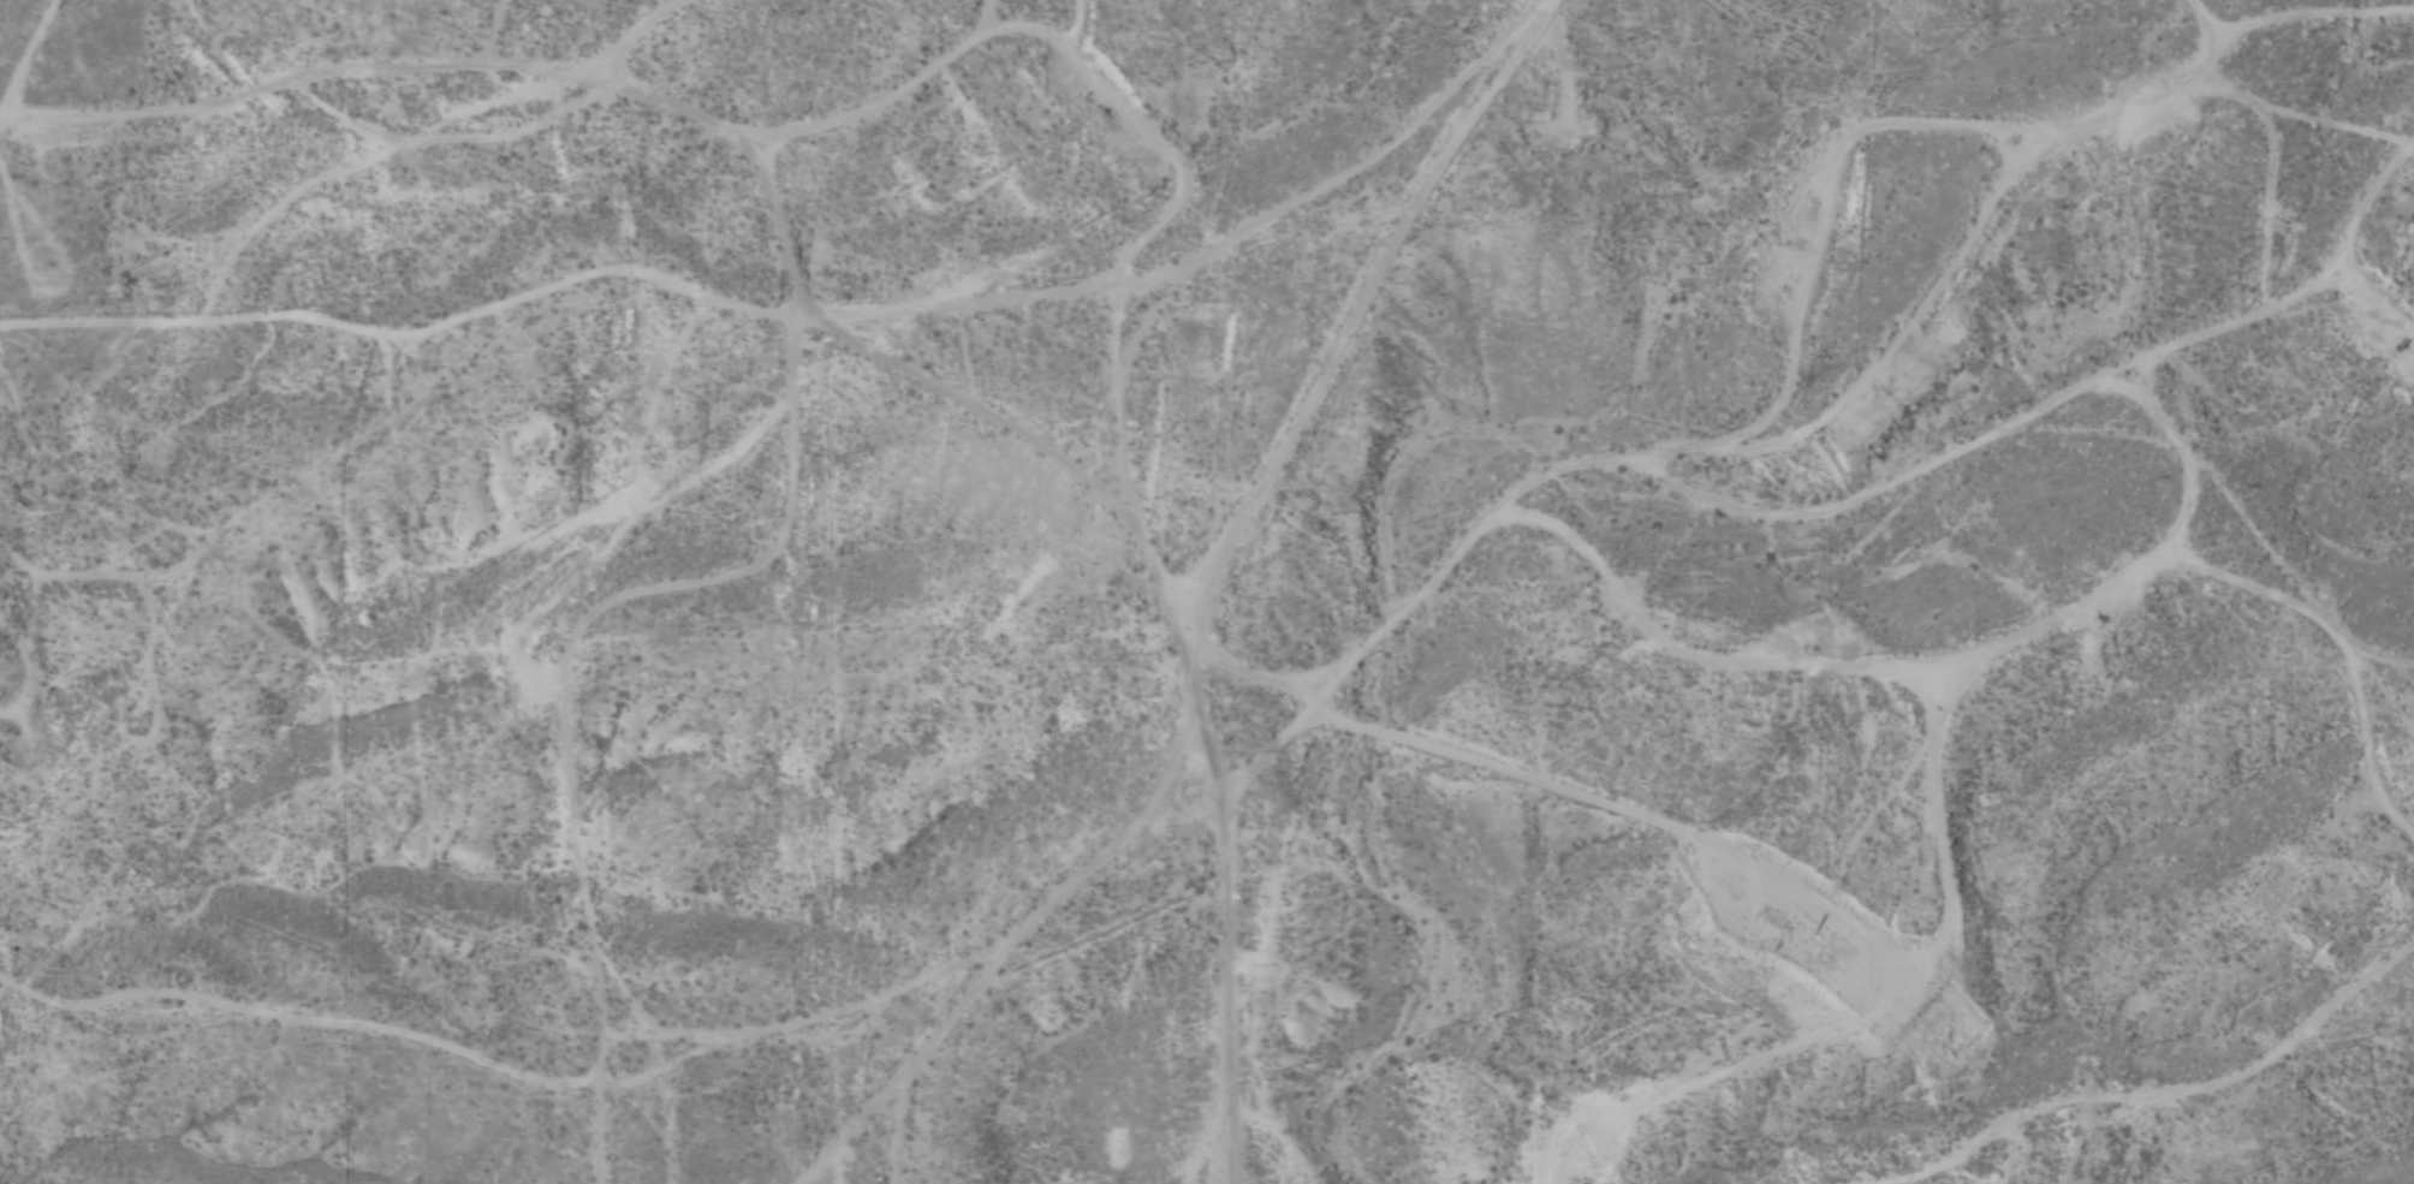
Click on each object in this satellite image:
road: (784, 567)
road: (1167, 713)

